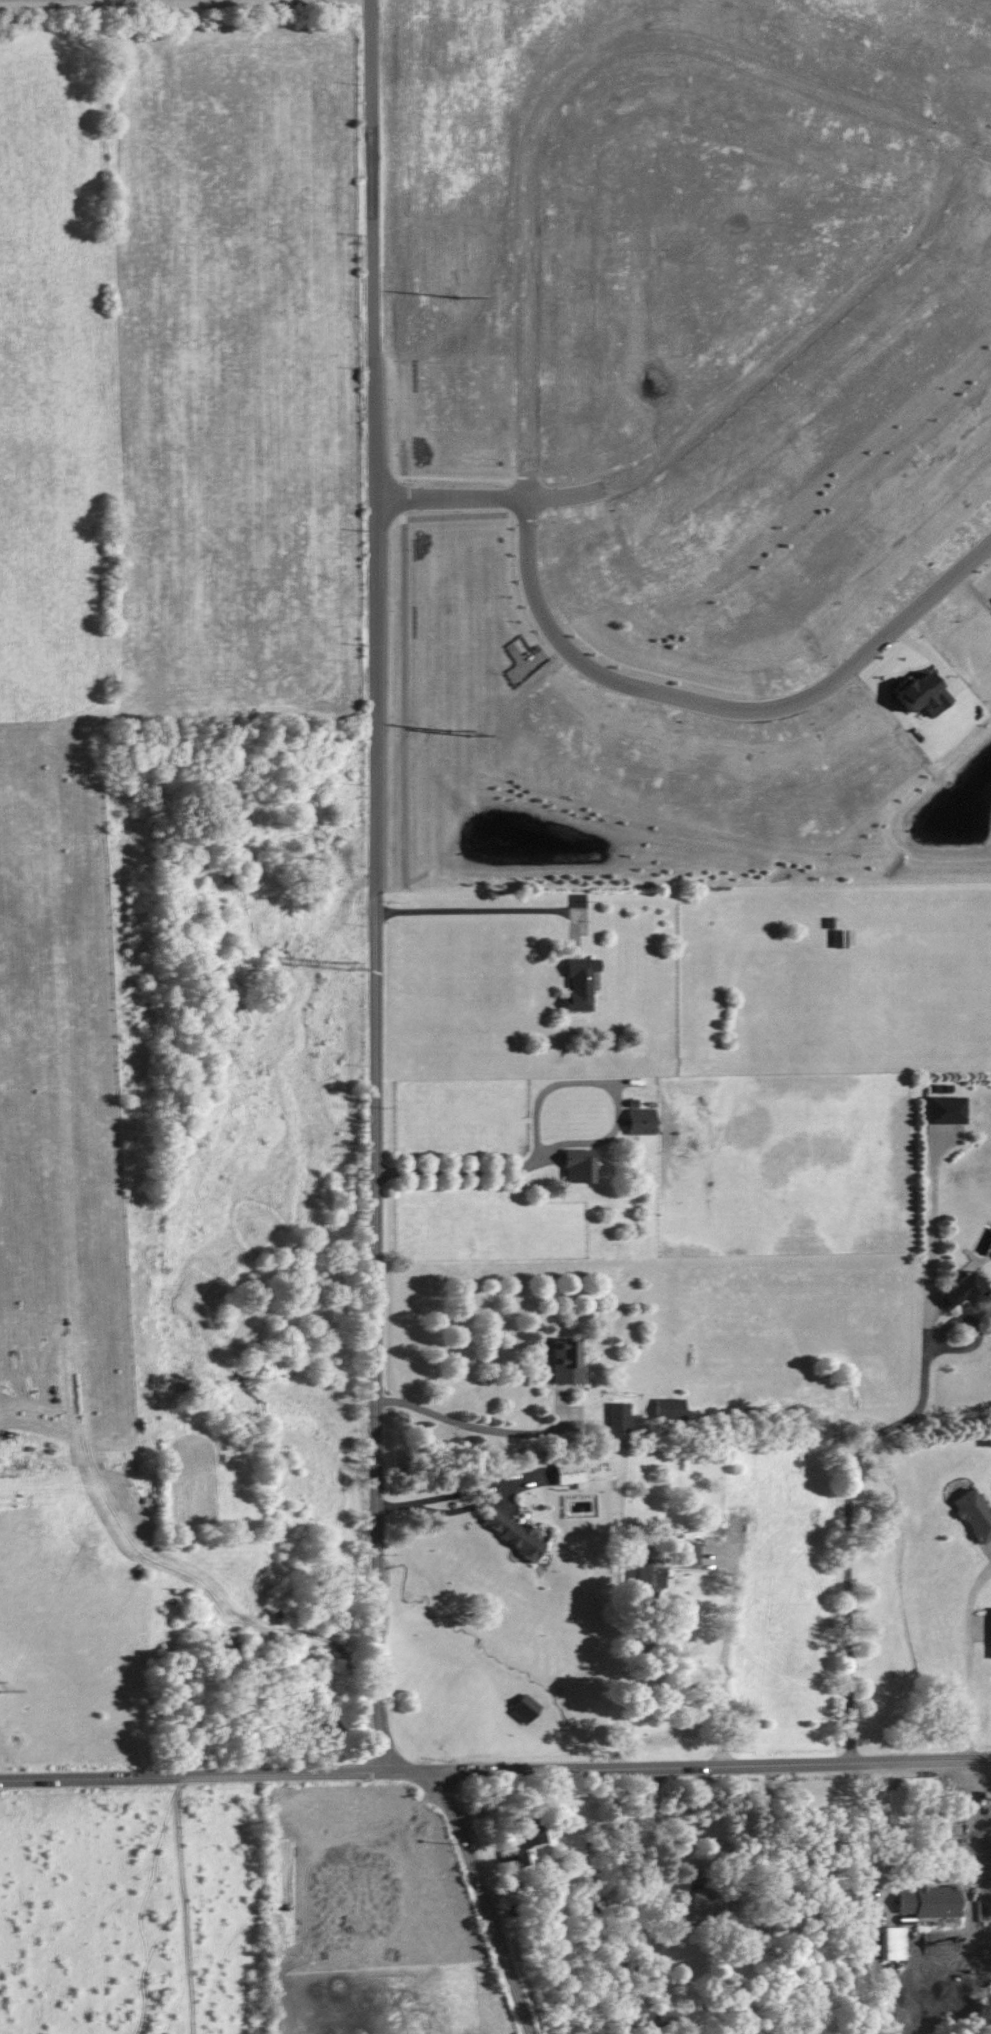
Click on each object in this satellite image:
road: (561, 82)
road: (973, 147)
power tower: (459, 298)
road: (716, 412)
road: (405, 444)
road: (527, 575)
building: (919, 693)
road: (796, 699)
power tower: (461, 731)
road: (376, 889)
road: (470, 909)
building: (839, 938)
power tower: (342, 967)
building: (580, 984)
building: (945, 1110)
building: (641, 1121)
road: (532, 1162)
building: (579, 1165)
building: (963, 1290)
building: (566, 1361)
building: (669, 1408)
building: (619, 1417)
road: (478, 1427)
road: (880, 1437)
building: (568, 1472)
road: (456, 1492)
building: (974, 1514)
building: (737, 1517)
building: (512, 1533)
building: (691, 1552)
building: (645, 1578)
building: (990, 1614)
road: (726, 1643)
road: (970, 1660)
building: (525, 1708)
road: (495, 1767)
road: (659, 1824)
road: (882, 1826)
building: (522, 1846)
road: (481, 1892)
building: (927, 1901)
building: (710, 1904)
building: (891, 1943)

